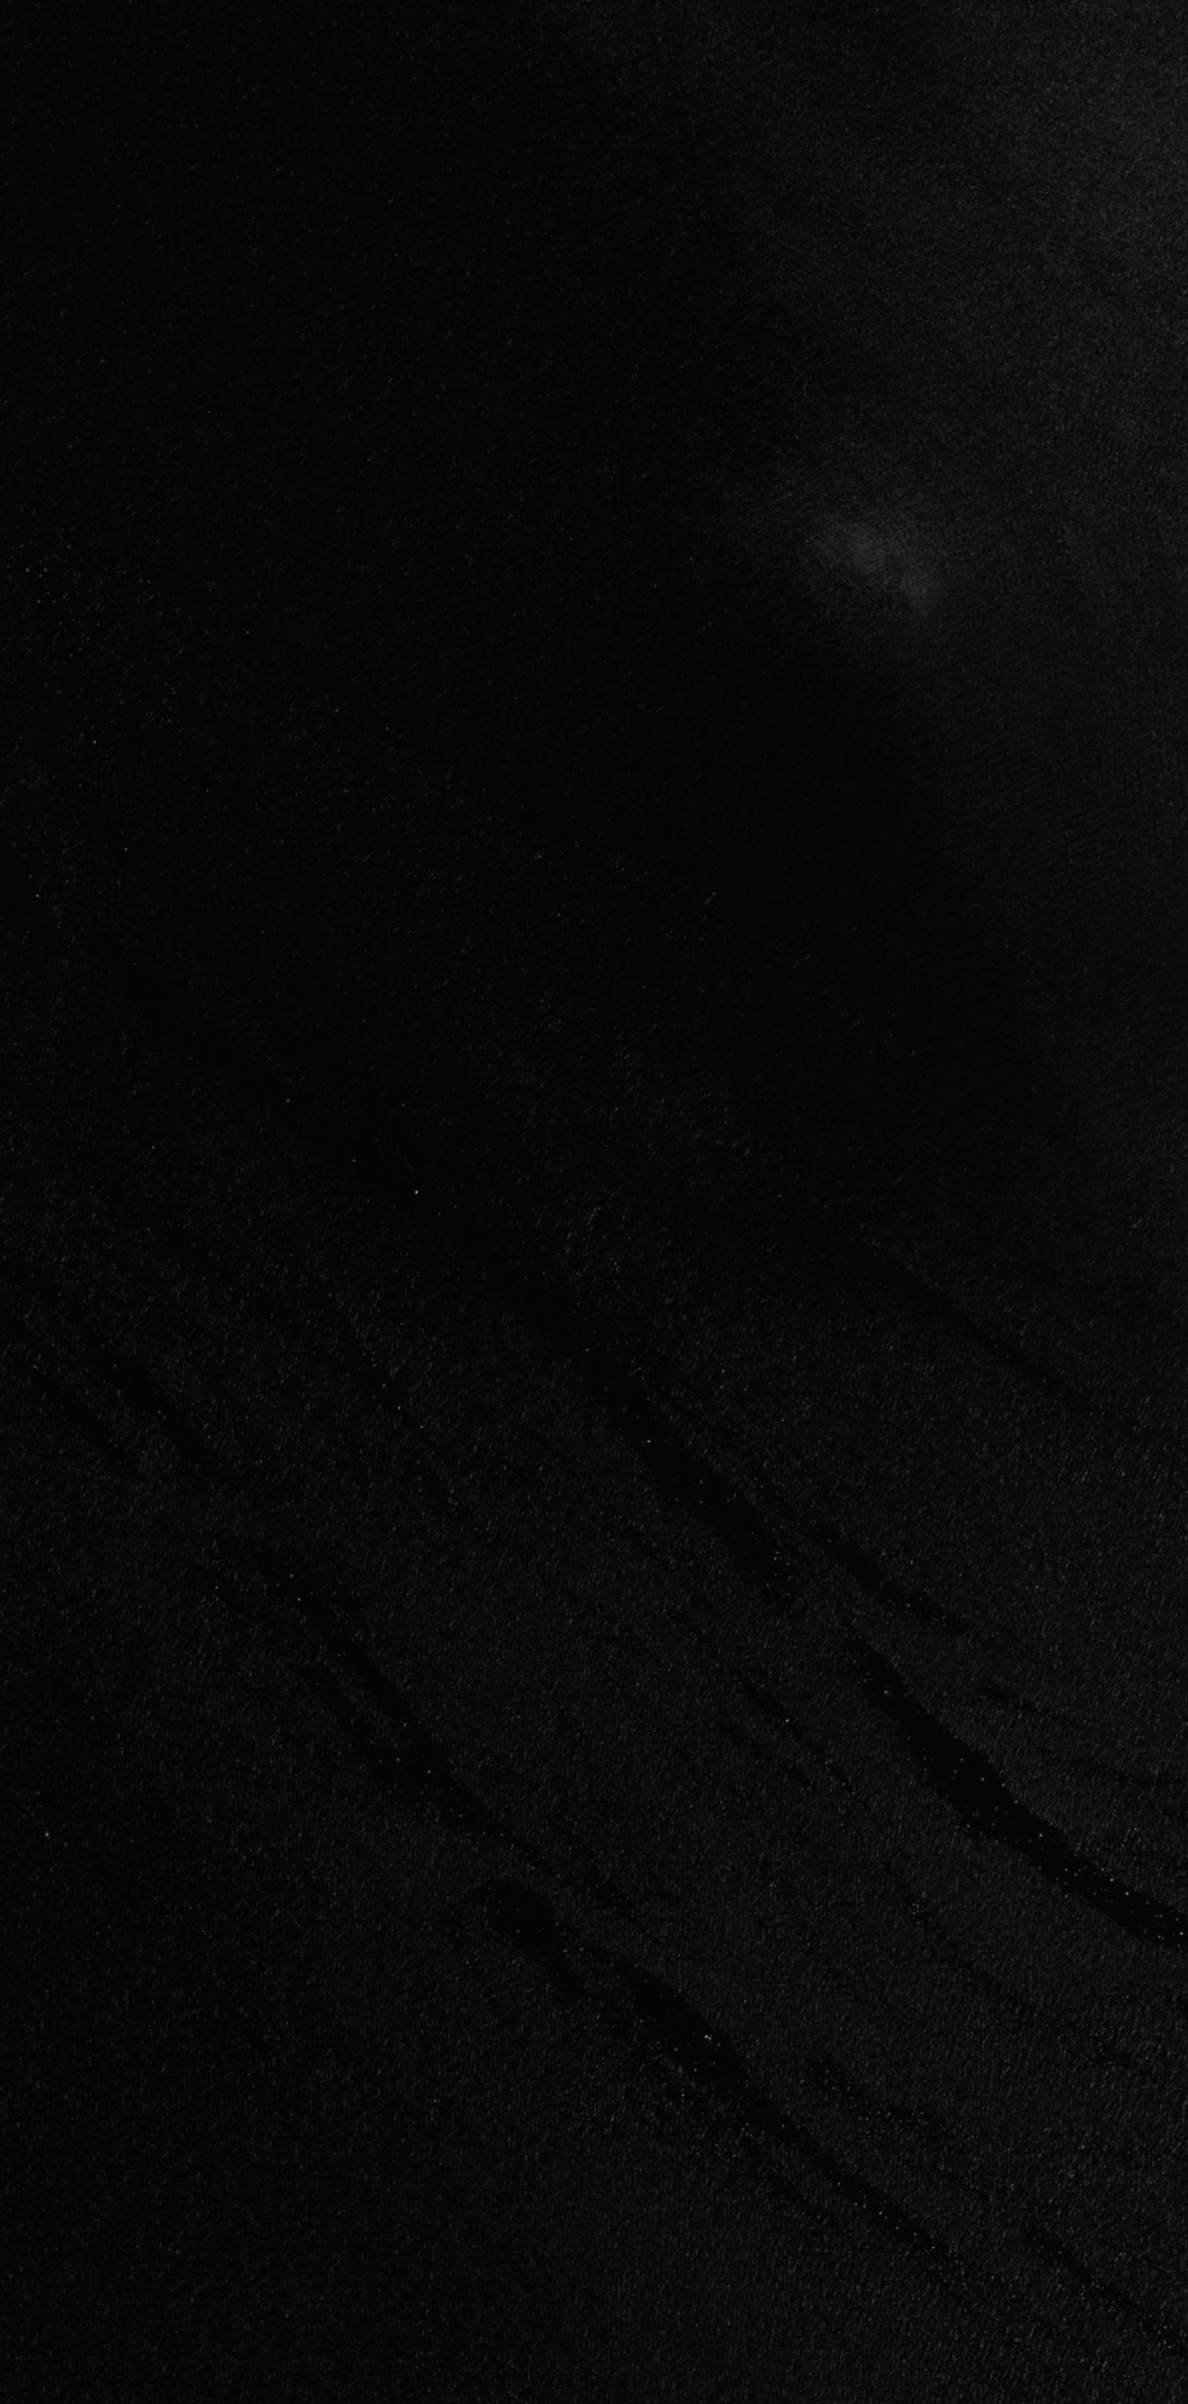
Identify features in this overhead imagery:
river: (514, 2221)

